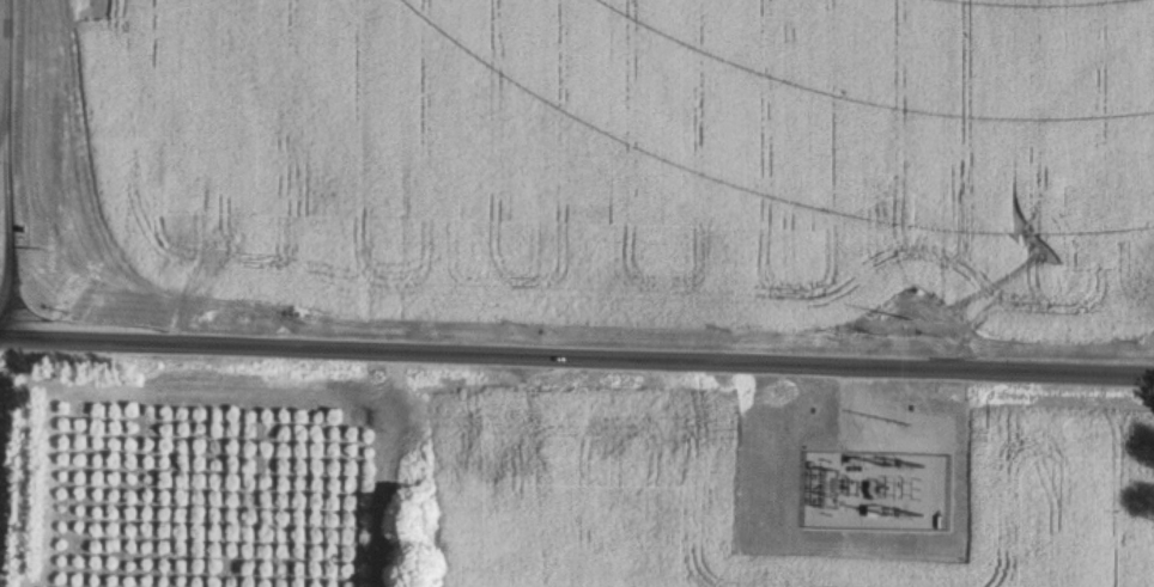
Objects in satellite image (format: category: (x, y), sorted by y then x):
road: (0, 22)
road: (577, 357)
power substation: (876, 479)

